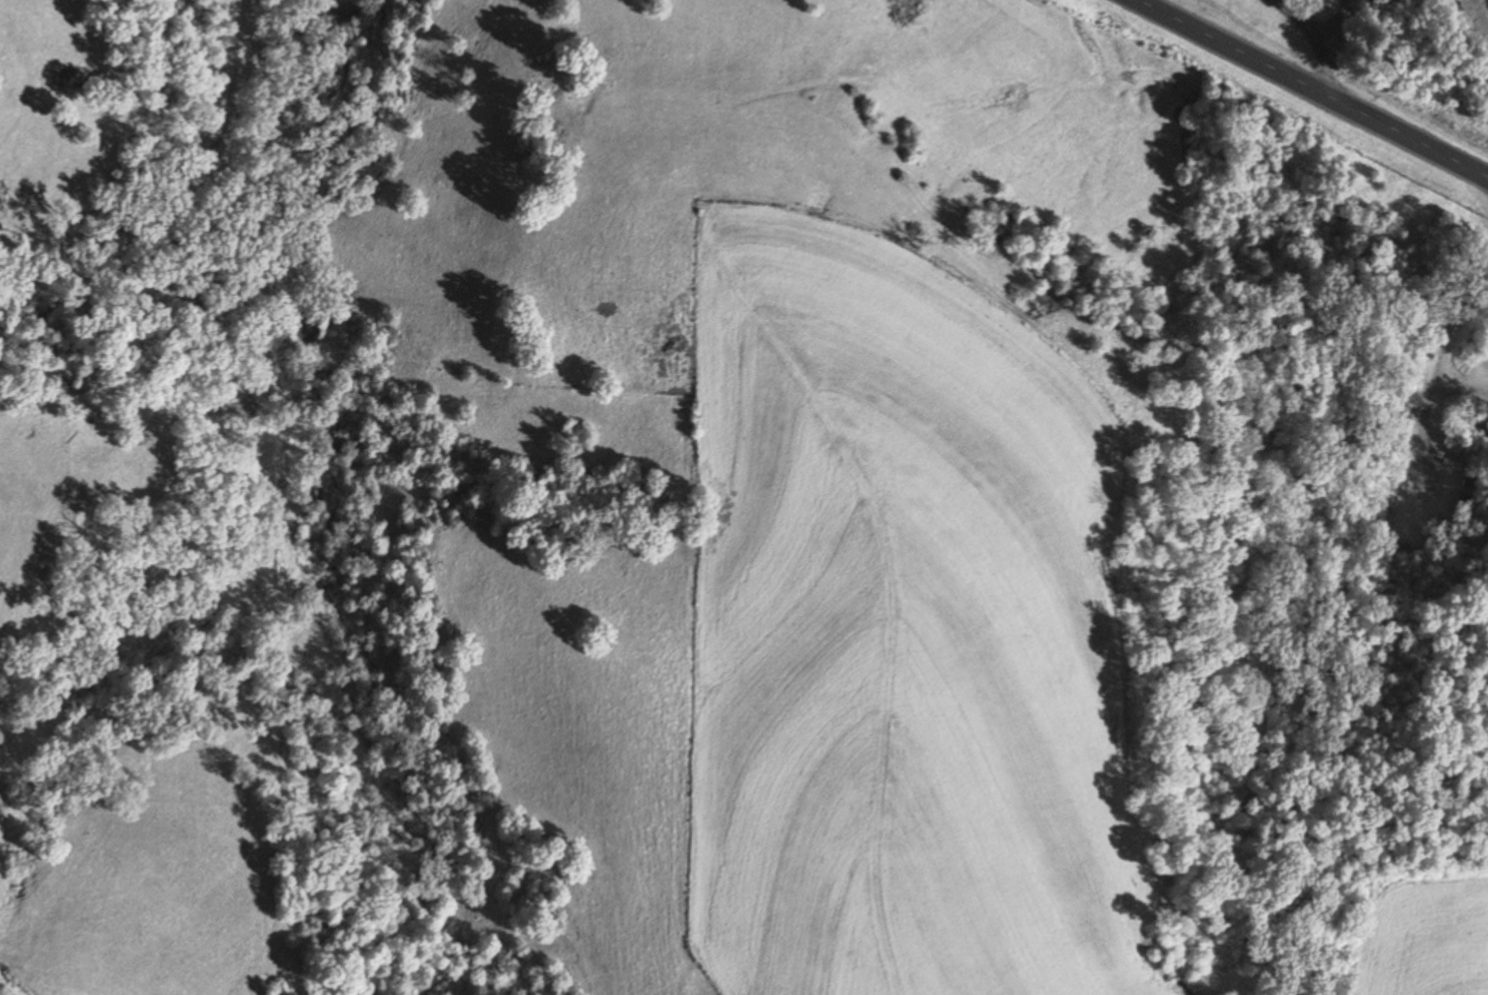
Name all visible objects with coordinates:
road: (1315, 38)
road: (1313, 87)
road: (1448, 332)
building: (1454, 464)

